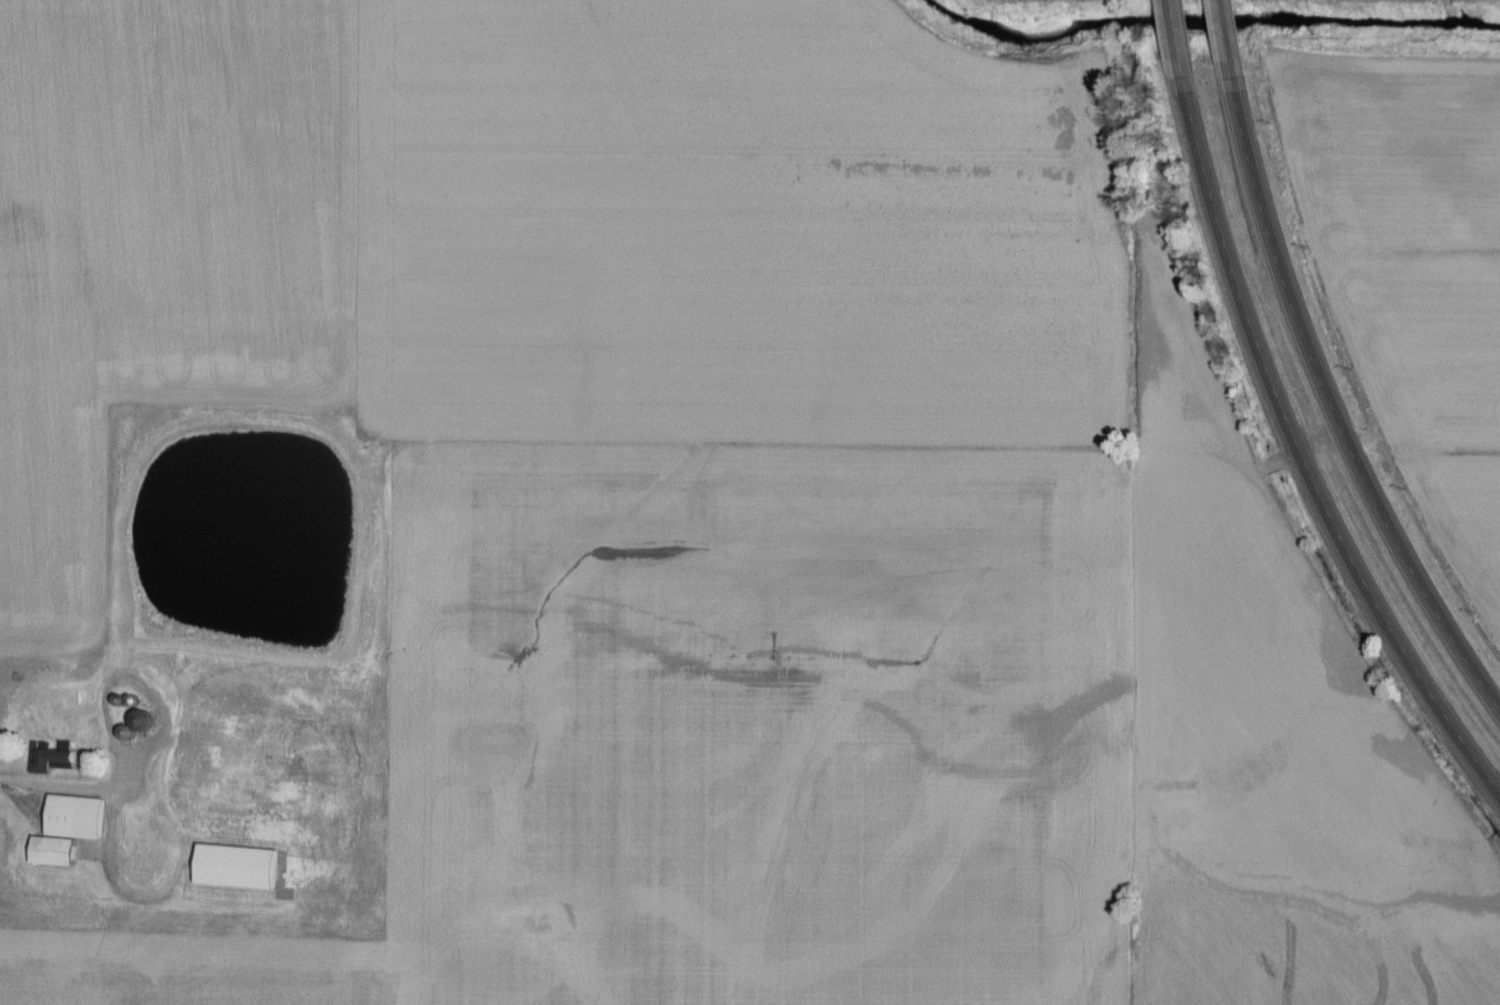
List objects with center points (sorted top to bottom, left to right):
road: (1176, 41)
road: (1224, 43)
road: (1333, 407)
road: (1303, 451)
building: (50, 756)
road: (120, 784)
building: (62, 830)
building: (233, 867)
road: (127, 890)

